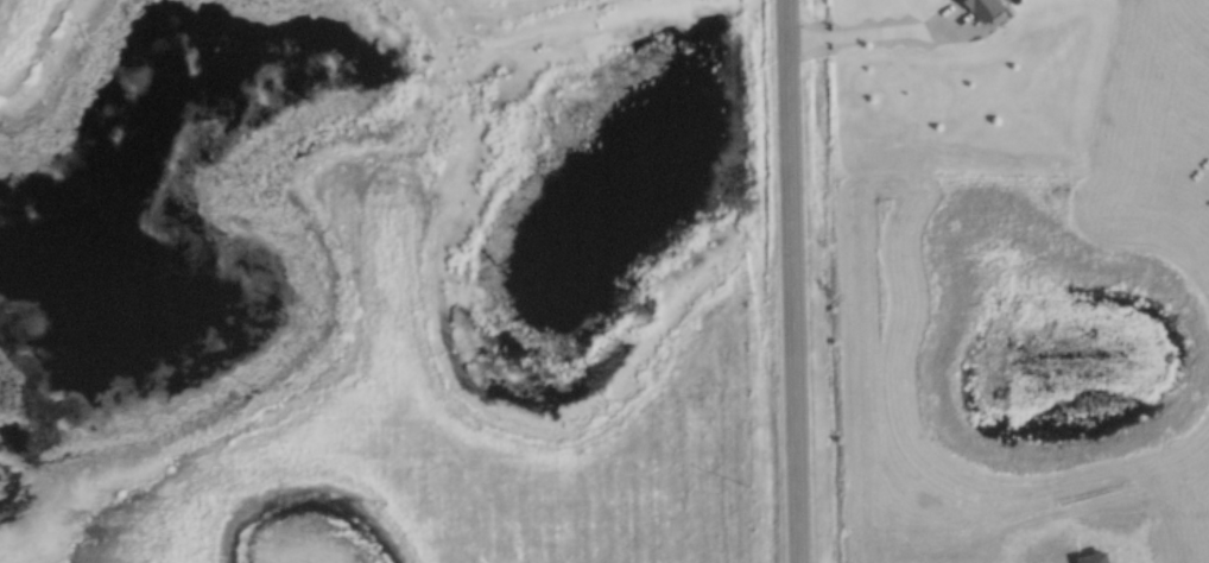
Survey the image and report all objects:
building: (977, 10)
road: (875, 32)
road: (793, 281)

